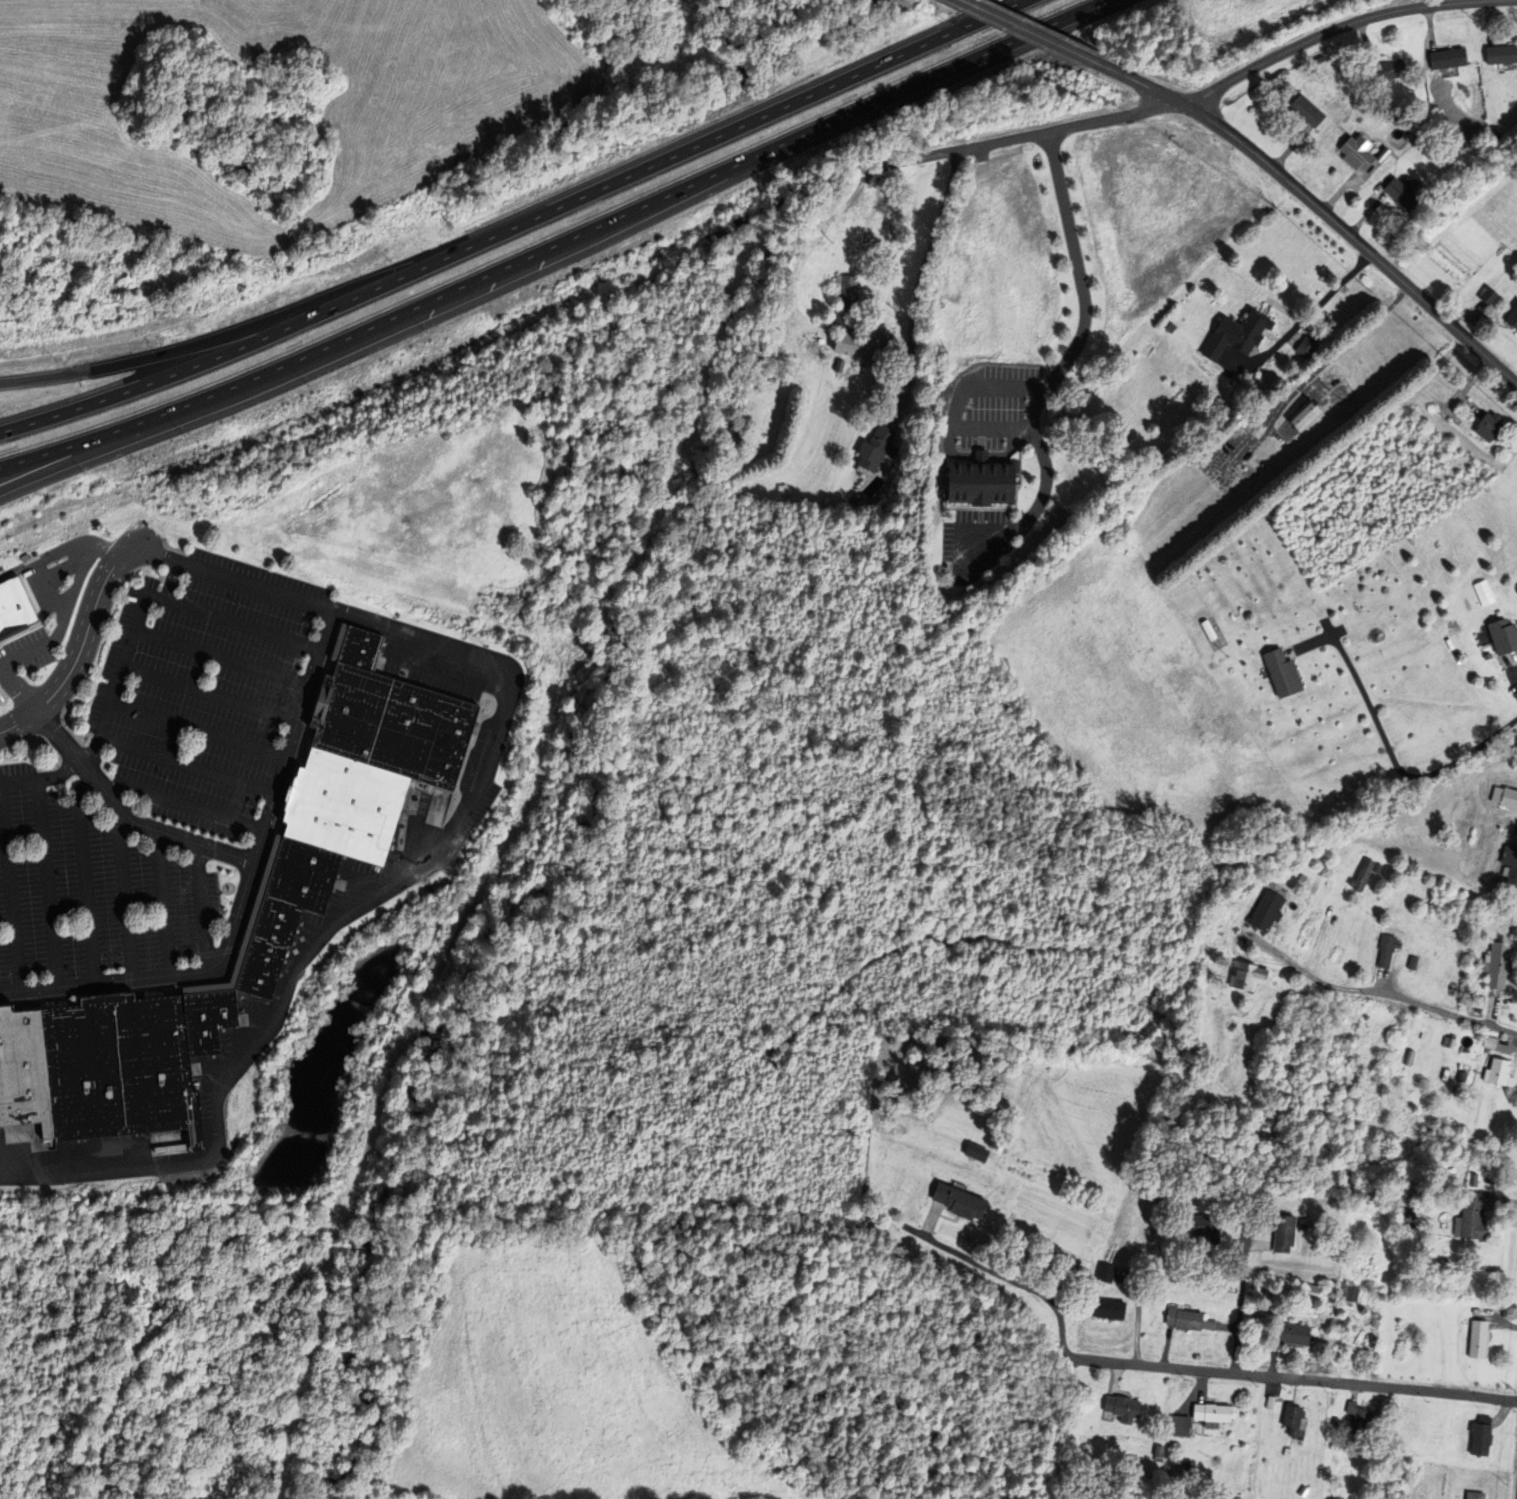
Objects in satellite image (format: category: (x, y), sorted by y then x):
road: (1340, 27)
road: (1028, 31)
building: (1502, 55)
building: (1449, 58)
building: (1387, 70)
building: (1308, 110)
building: (175, 114)
crop: (433, 131)
building: (208, 132)
road: (1039, 133)
building: (1497, 138)
building: (1458, 145)
building: (1358, 152)
building: (1384, 154)
building: (242, 167)
road: (868, 174)
building: (281, 186)
building: (1404, 193)
road: (1317, 209)
building: (881, 223)
road: (516, 225)
road: (554, 242)
road: (917, 287)
building: (1489, 296)
building: (845, 301)
building: (1512, 318)
road: (1303, 319)
road: (231, 330)
building: (1238, 335)
road: (1077, 342)
building: (1306, 348)
building: (865, 349)
building: (835, 363)
road: (1319, 368)
building: (773, 369)
parking lot: (989, 411)
building: (1304, 415)
road: (952, 421)
building: (1250, 425)
building: (1490, 427)
road: (991, 428)
building: (877, 449)
road: (83, 453)
road: (1221, 456)
building: (982, 483)
building: (854, 499)
road: (985, 532)
parking lot: (974, 543)
road: (58, 551)
road: (230, 579)
road: (46, 589)
parking lot: (46, 606)
building: (14, 607)
road: (60, 620)
building: (1208, 629)
building: (1504, 634)
road: (130, 635)
building: (337, 644)
road: (79, 650)
building: (358, 650)
road: (219, 658)
road: (1511, 661)
building: (1282, 671)
road: (508, 687)
road: (207, 694)
building: (390, 727)
road: (196, 730)
road: (1384, 740)
road: (185, 766)
parking lot: (163, 786)
road: (106, 794)
building: (1505, 796)
road: (182, 805)
building: (342, 807)
building: (1511, 862)
building: (1377, 868)
building: (1363, 874)
road: (82, 876)
road: (46, 882)
road: (10, 896)
road: (123, 896)
road: (160, 903)
road: (198, 907)
building: (1267, 910)
building: (254, 911)
building: (284, 912)
building: (1387, 949)
building: (1413, 962)
building: (1499, 964)
road: (1299, 969)
building: (1247, 975)
road: (1440, 1009)
building: (206, 1020)
building: (1490, 1042)
building: (1451, 1043)
building: (119, 1069)
building: (1499, 1071)
building: (23, 1072)
building: (1462, 1076)
building: (977, 1152)
building: (959, 1201)
building: (1473, 1219)
building: (1407, 1220)
building: (1204, 1228)
building: (1285, 1233)
building: (1105, 1273)
road: (1005, 1276)
building: (1313, 1289)
building: (1349, 1292)
road: (1241, 1302)
building: (1108, 1308)
building: (1188, 1320)
building: (1376, 1320)
building: (1295, 1335)
building: (1479, 1339)
road: (1294, 1378)
building: (1270, 1403)
building: (1331, 1403)
building: (1122, 1408)
building: (1212, 1415)
building: (1360, 1419)
building: (1295, 1420)
building: (1337, 1423)
building: (1179, 1426)
building: (1482, 1436)
building: (1287, 1452)
building: (1159, 1454)
building: (1283, 1481)
building: (1302, 1491)
building: (1475, 1495)

